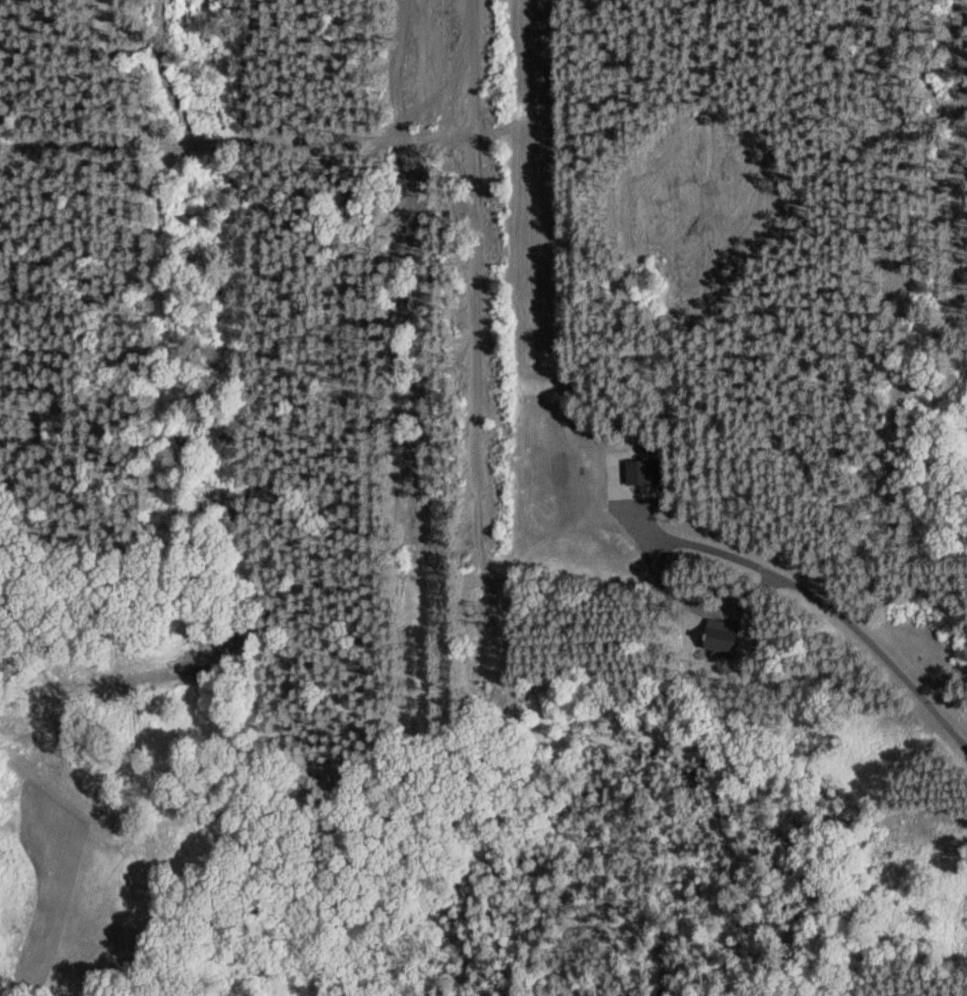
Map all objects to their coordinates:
building: (642, 473)
building: (719, 637)

